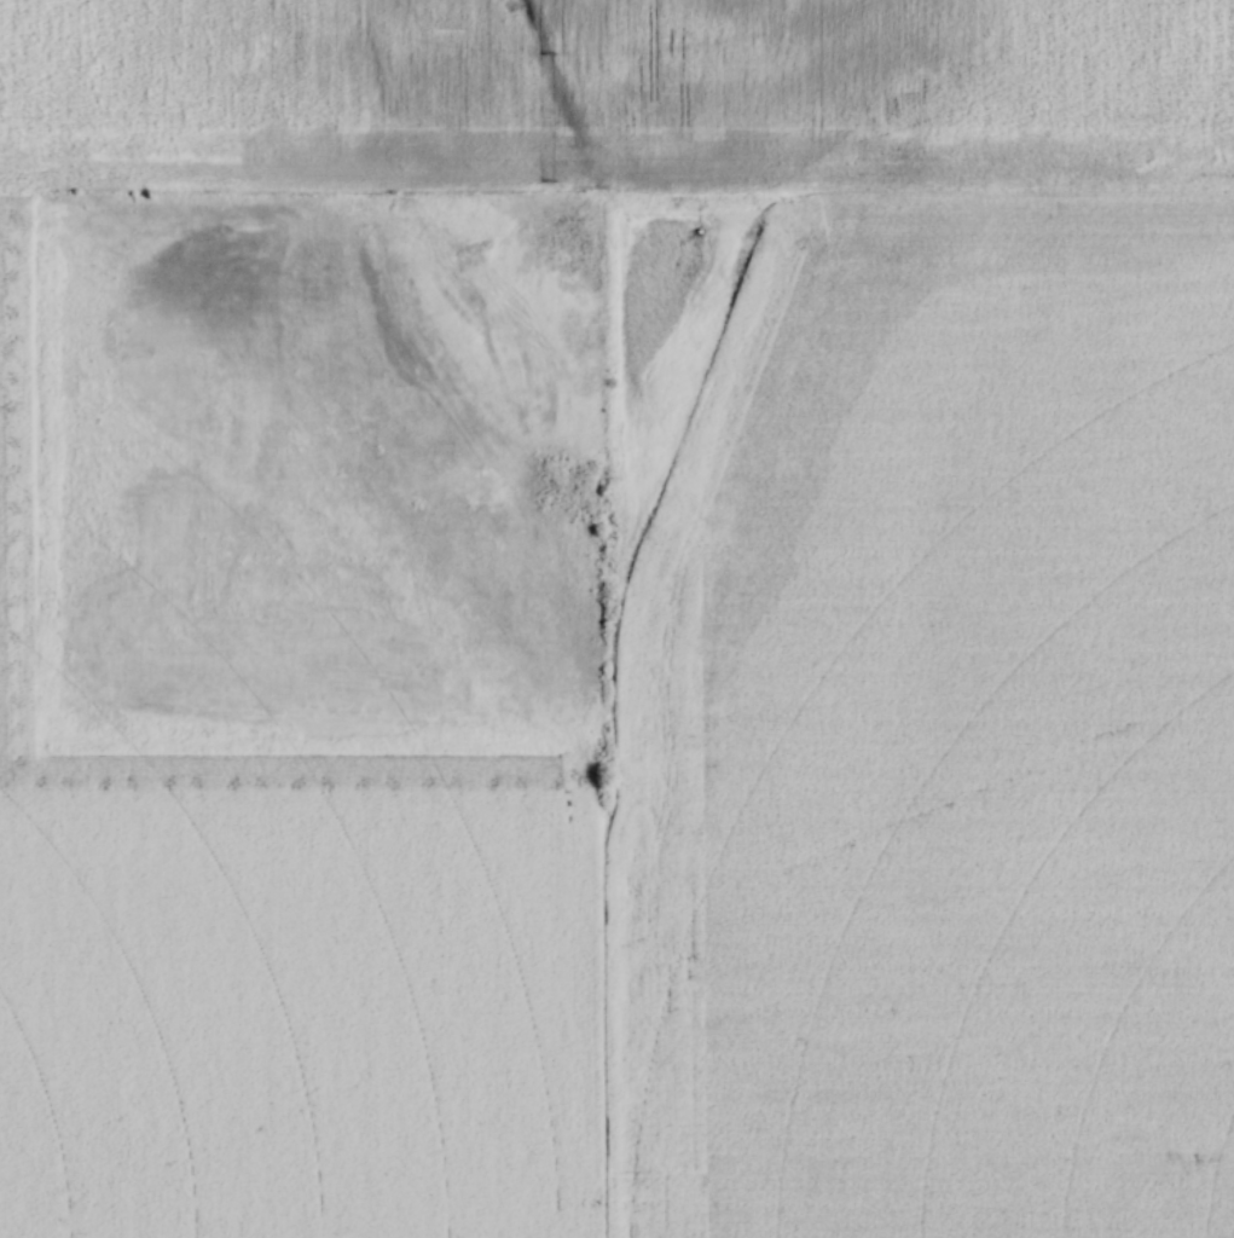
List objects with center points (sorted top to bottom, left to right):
crop: (292, 994)

